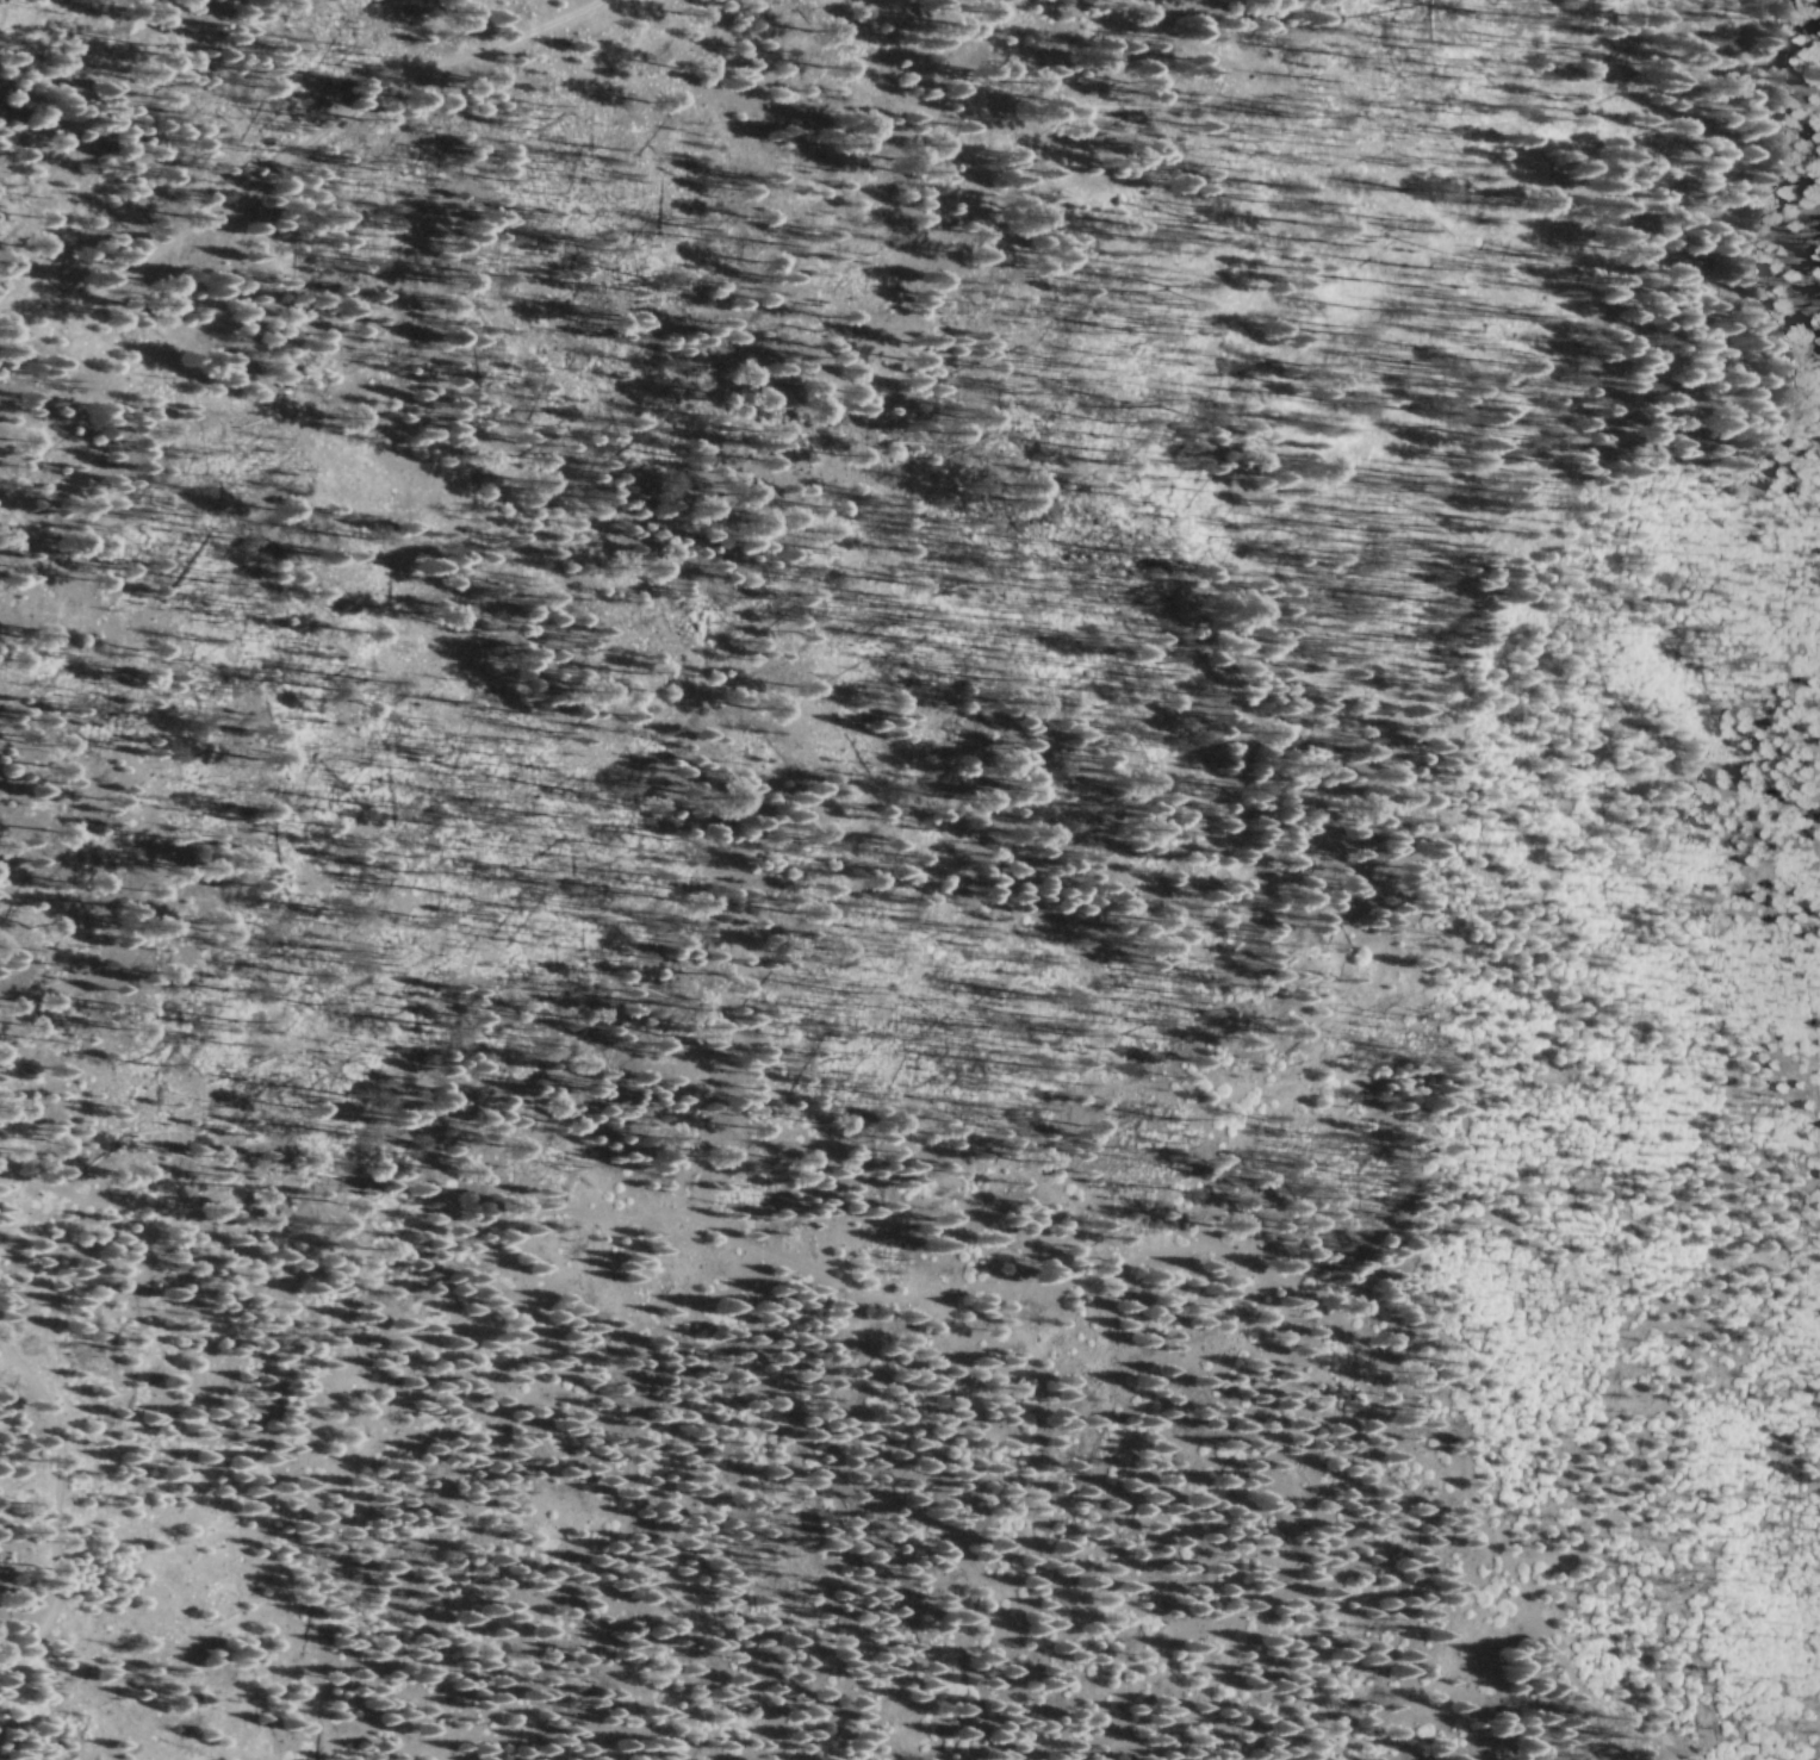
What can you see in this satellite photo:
road: (285, 142)
road: (55, 1132)
road: (994, 1183)
road: (58, 1529)

